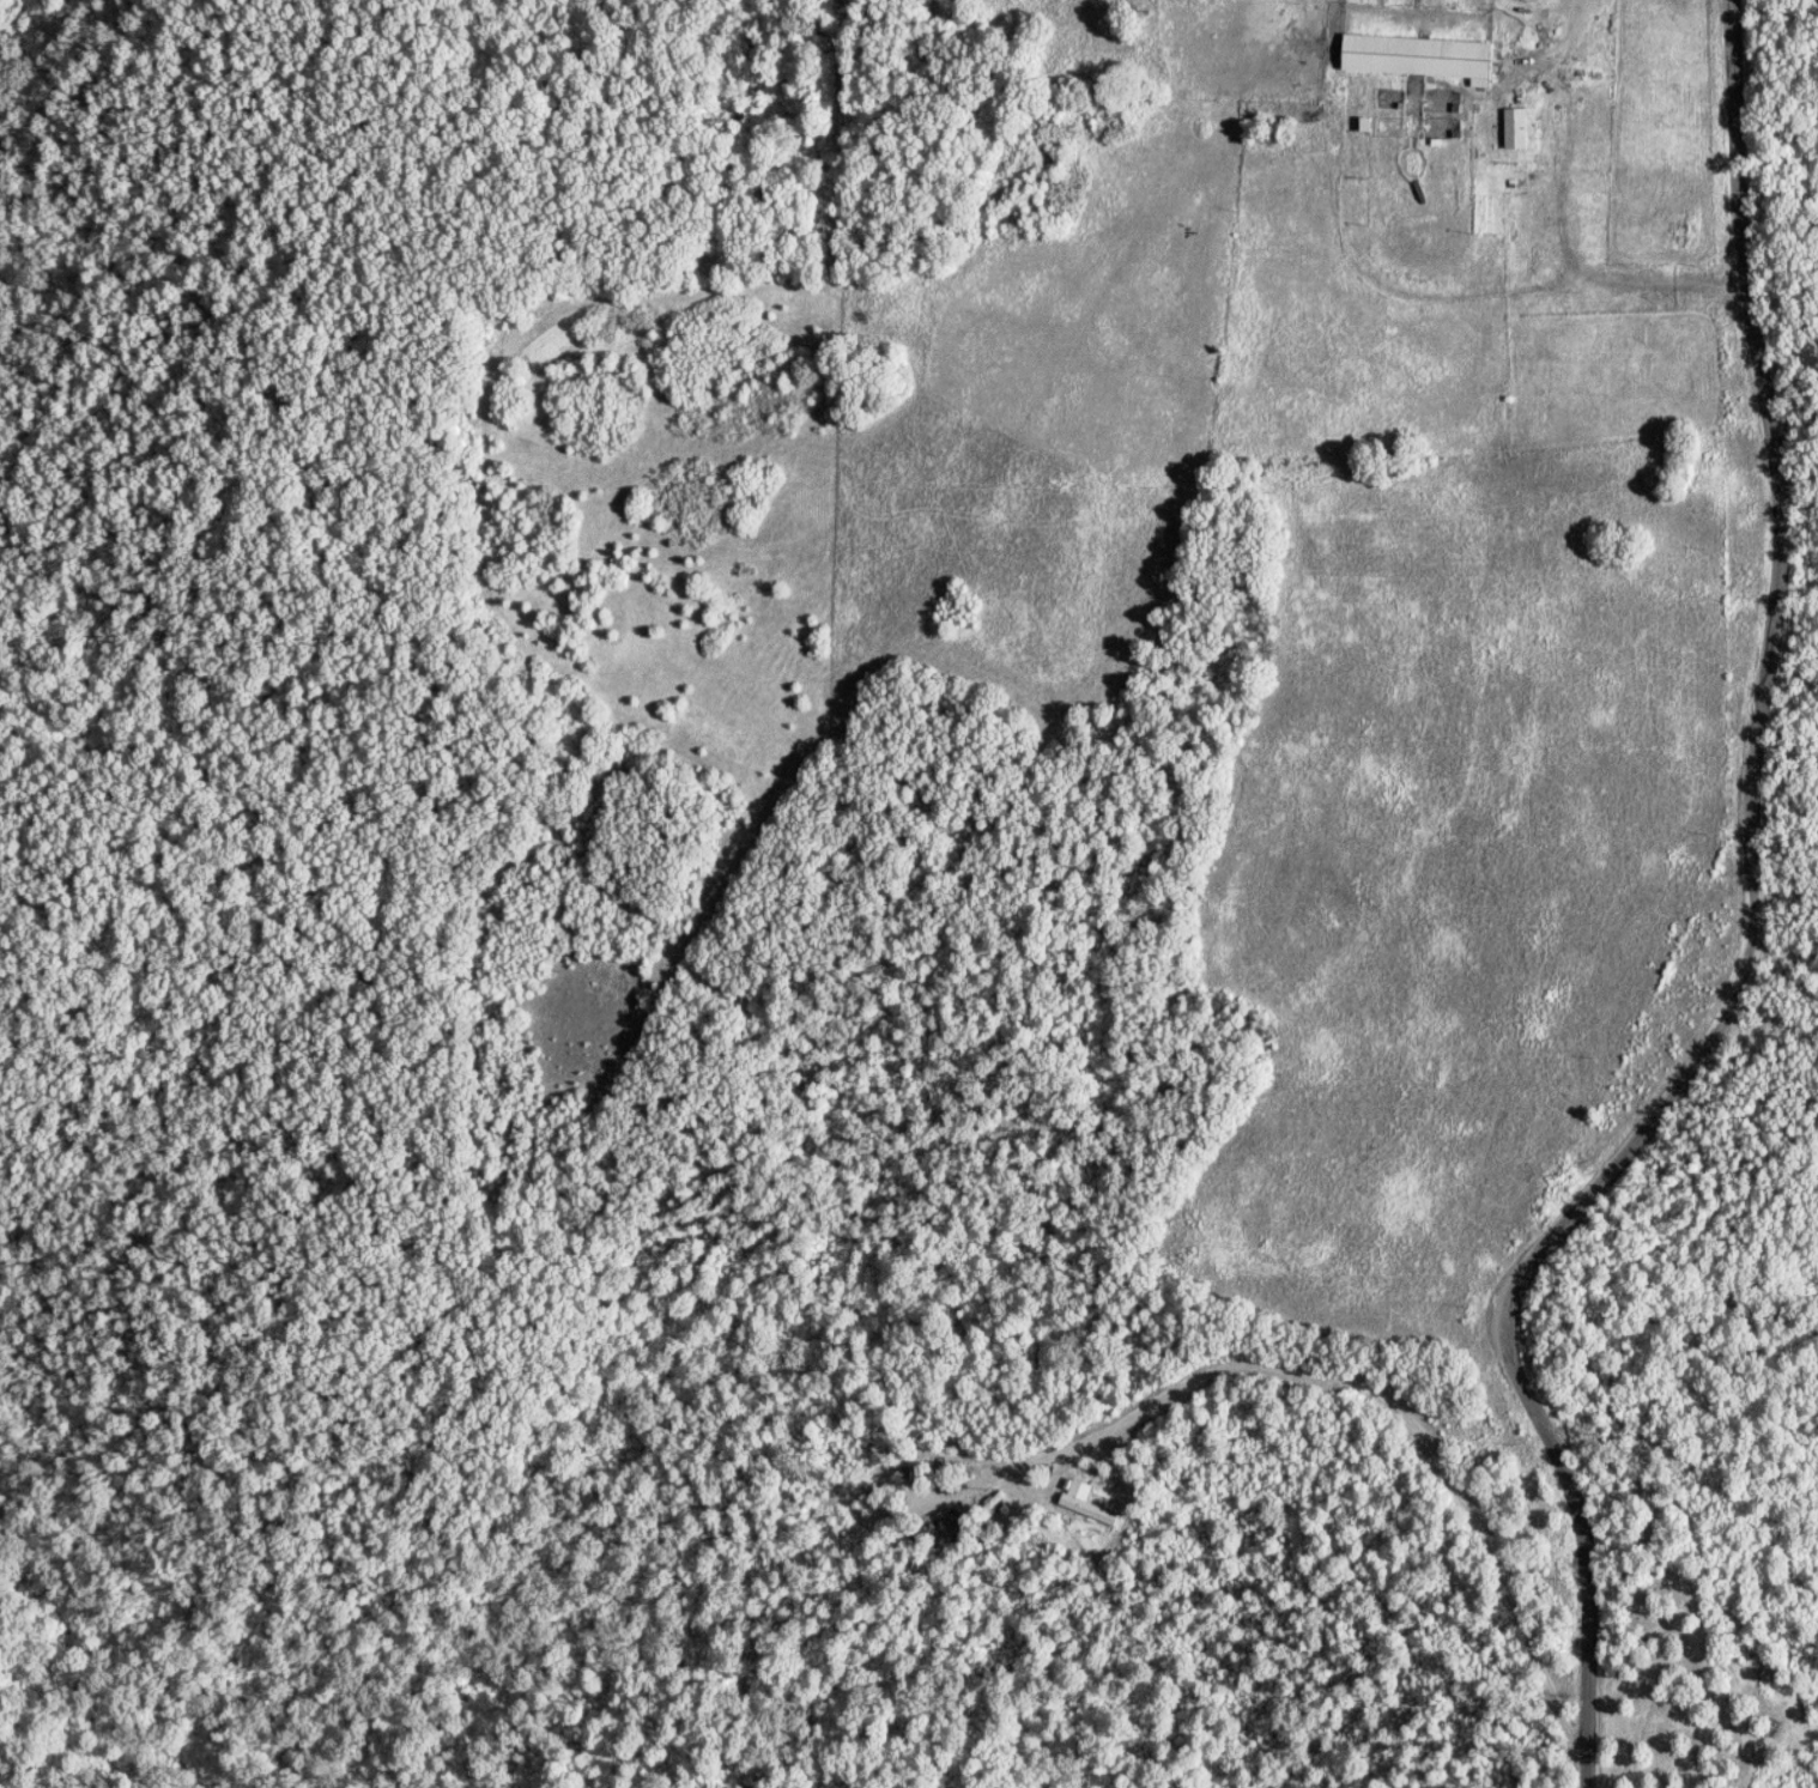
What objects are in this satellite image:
building: (1419, 57)
building: (1516, 129)
road: (1566, 219)
road: (1794, 685)
road: (1758, 941)
road: (1366, 1386)
building: (1085, 1502)
building: (951, 1523)

